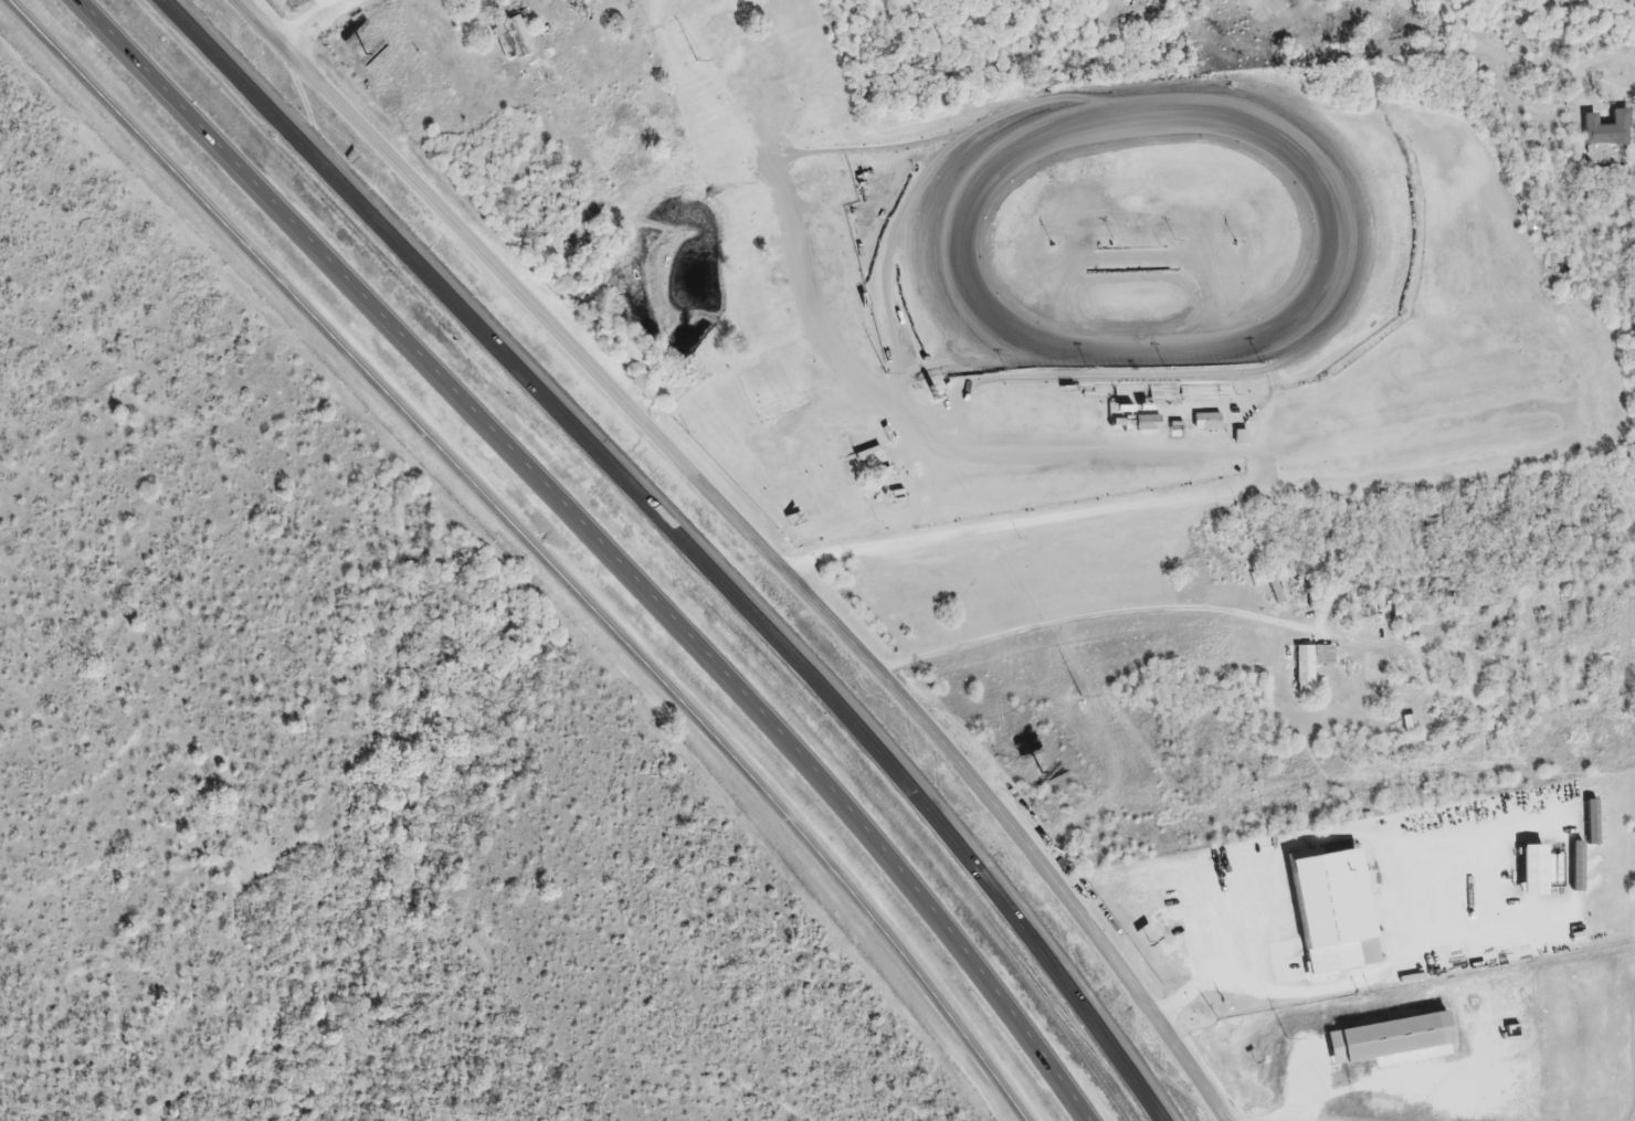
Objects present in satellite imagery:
road: (339, 4)
road: (323, 18)
building: (514, 39)
road: (673, 52)
power tower: (692, 54)
road: (1490, 55)
road: (1601, 59)
road: (1601, 81)
building: (1605, 130)
power tower: (886, 379)
building: (1125, 396)
building: (1160, 396)
building: (1207, 423)
building: (1144, 425)
road: (1076, 516)
road: (601, 541)
road: (686, 543)
road: (758, 546)
road: (525, 550)
road: (1096, 616)
building: (1308, 667)
power tower: (1086, 700)
building: (1406, 725)
road: (1212, 969)
power tower: (1280, 1027)
road: (1306, 1086)

